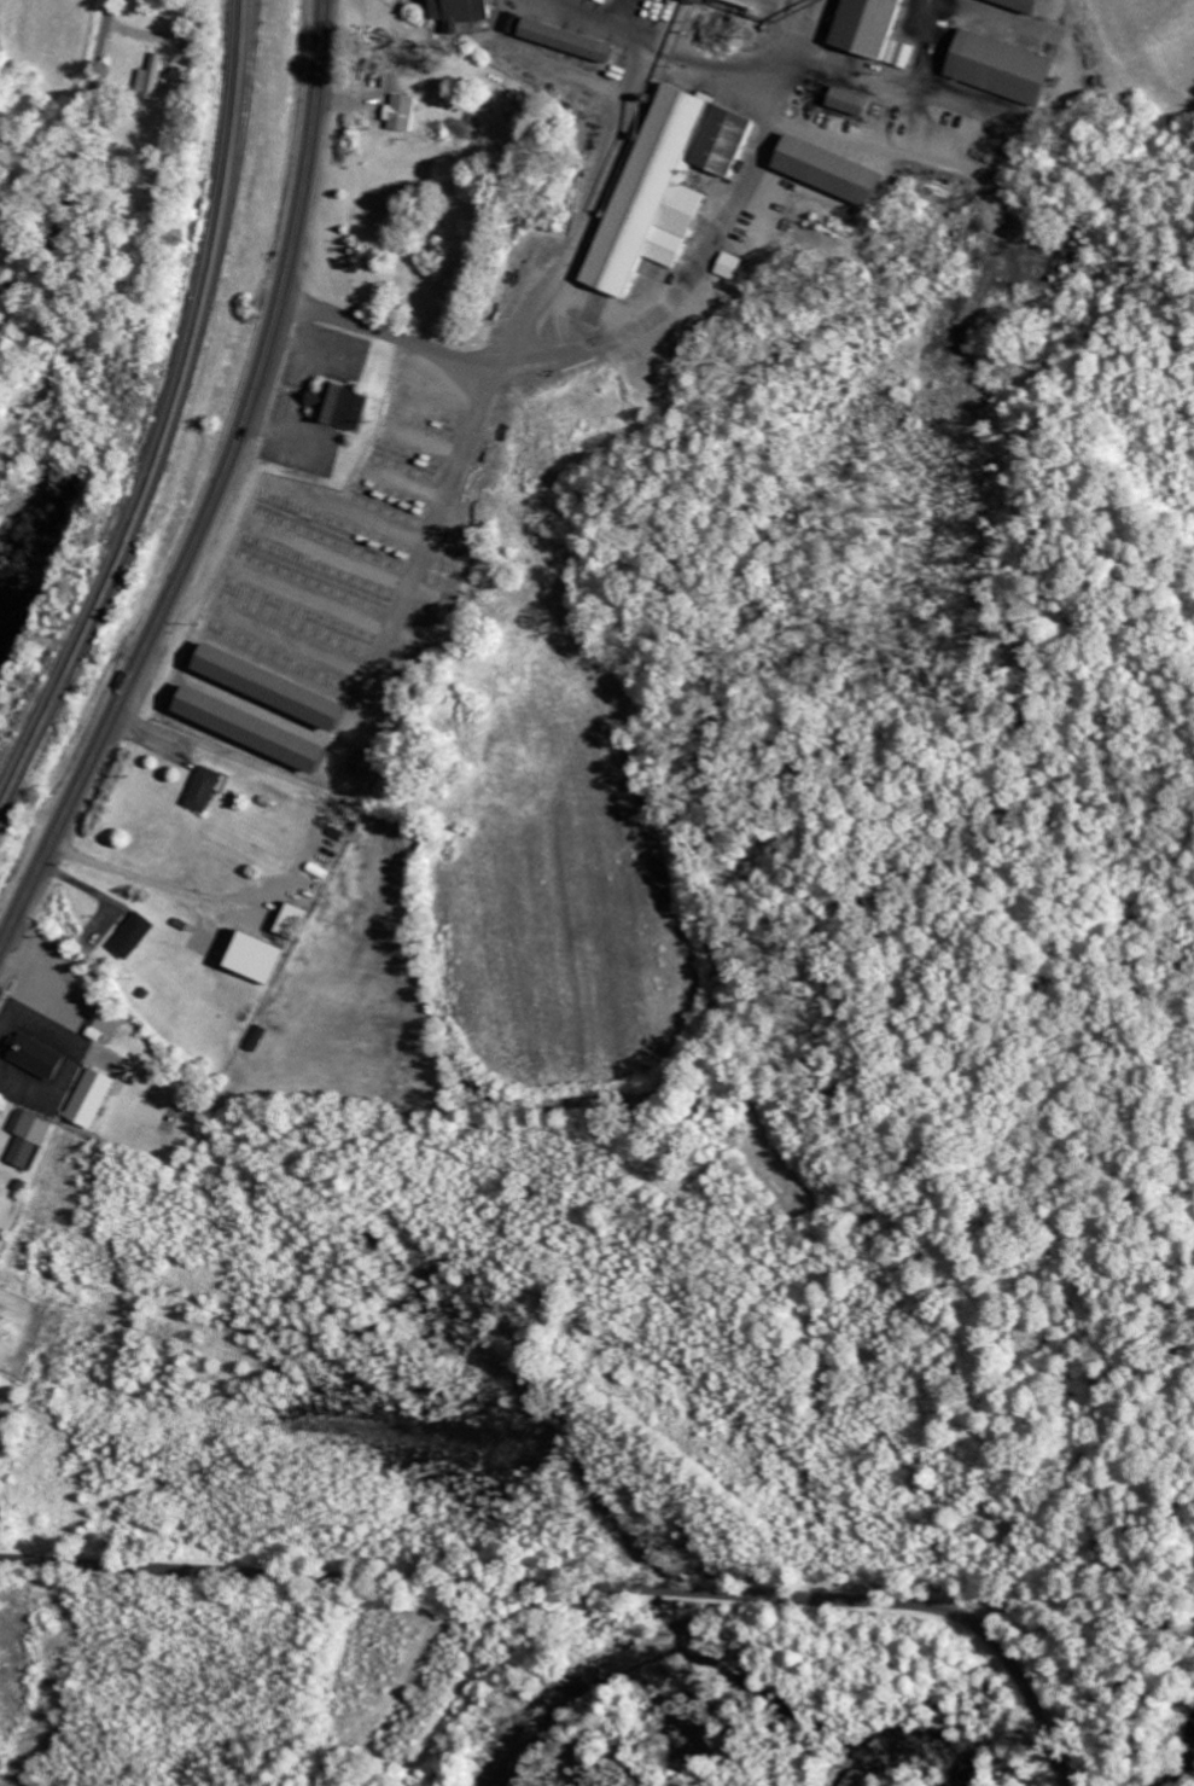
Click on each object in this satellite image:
building: (1029, 5)
building: (467, 12)
building: (878, 30)
building: (1007, 69)
building: (156, 76)
building: (855, 103)
building: (404, 114)
road: (76, 157)
building: (837, 173)
building: (671, 185)
building: (732, 267)
building: (343, 405)
railway: (169, 415)
road: (216, 491)
building: (279, 687)
building: (260, 729)
building: (205, 790)
building: (295, 920)
building: (134, 936)
building: (260, 956)
building: (258, 1037)
building: (39, 1057)
building: (93, 1098)
building: (1, 1116)
building: (30, 1136)
road: (601, 1588)

